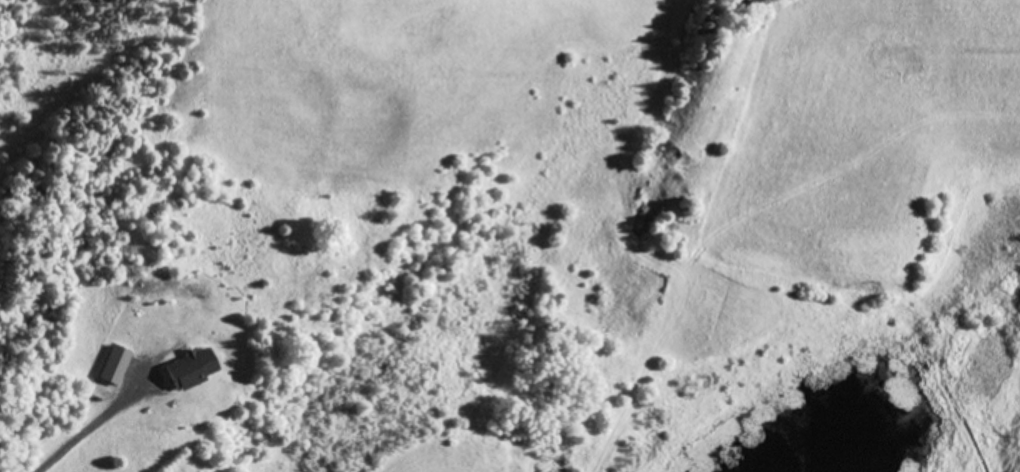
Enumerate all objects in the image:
building: (116, 363)
building: (193, 366)

